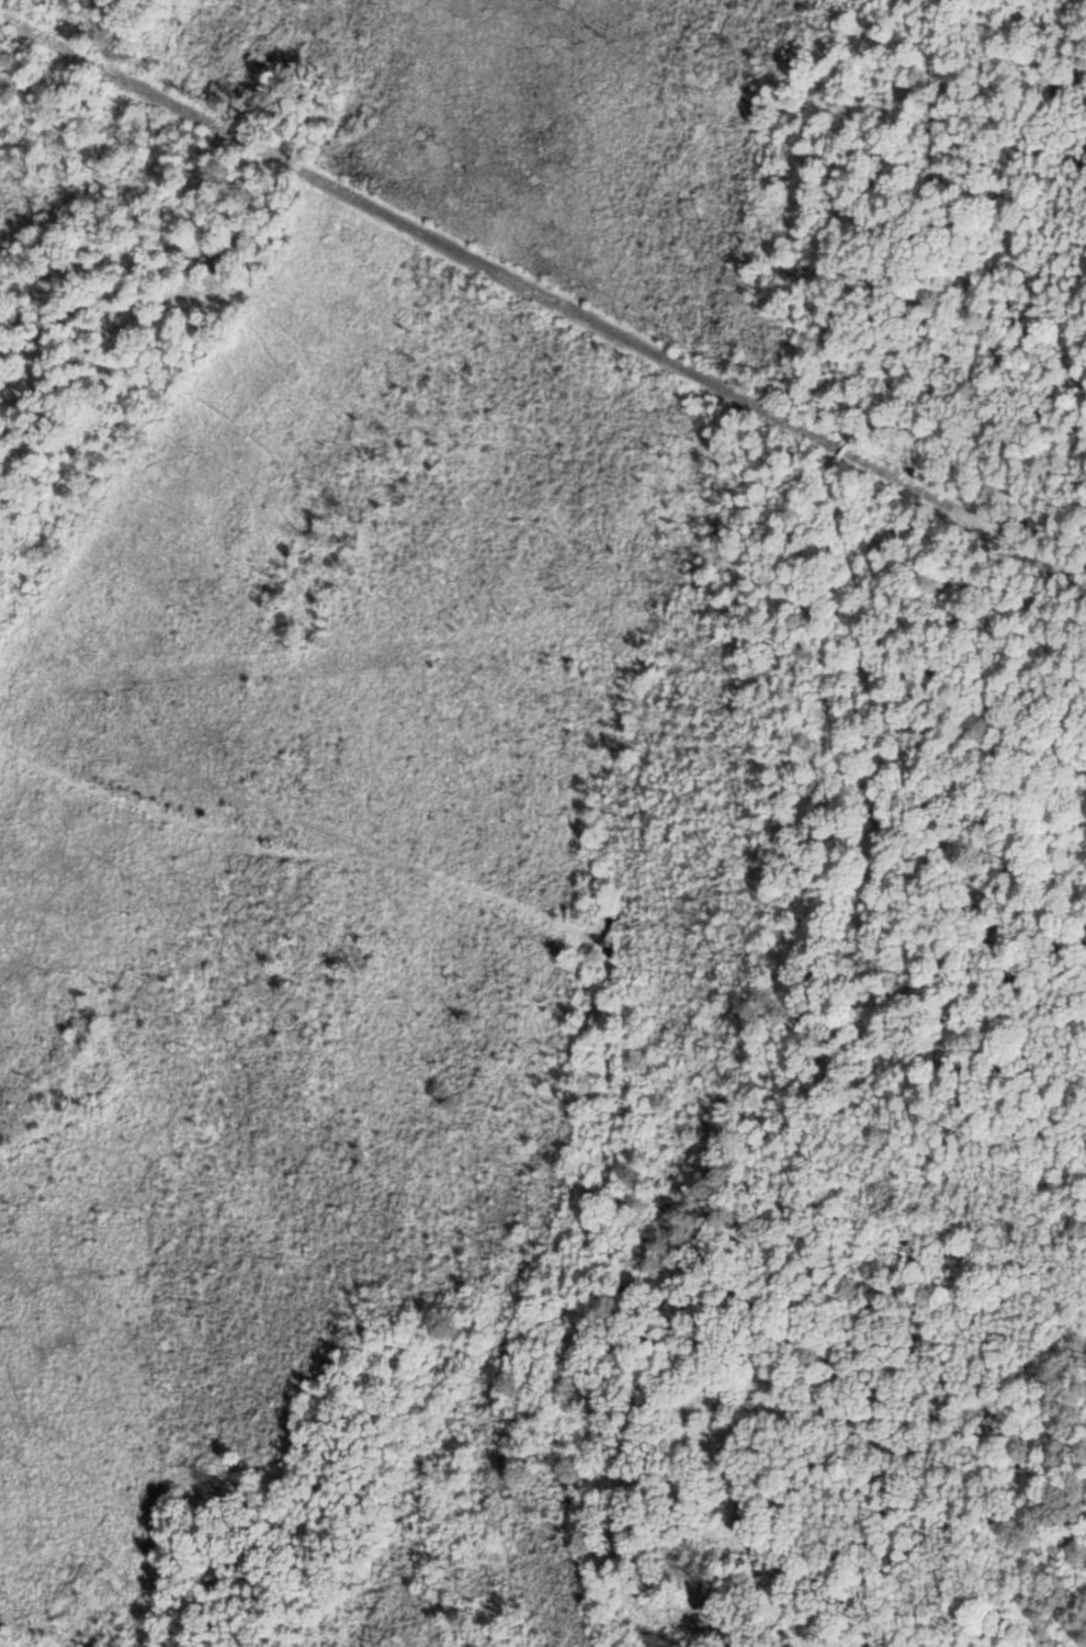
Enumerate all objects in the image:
railway: (543, 293)

